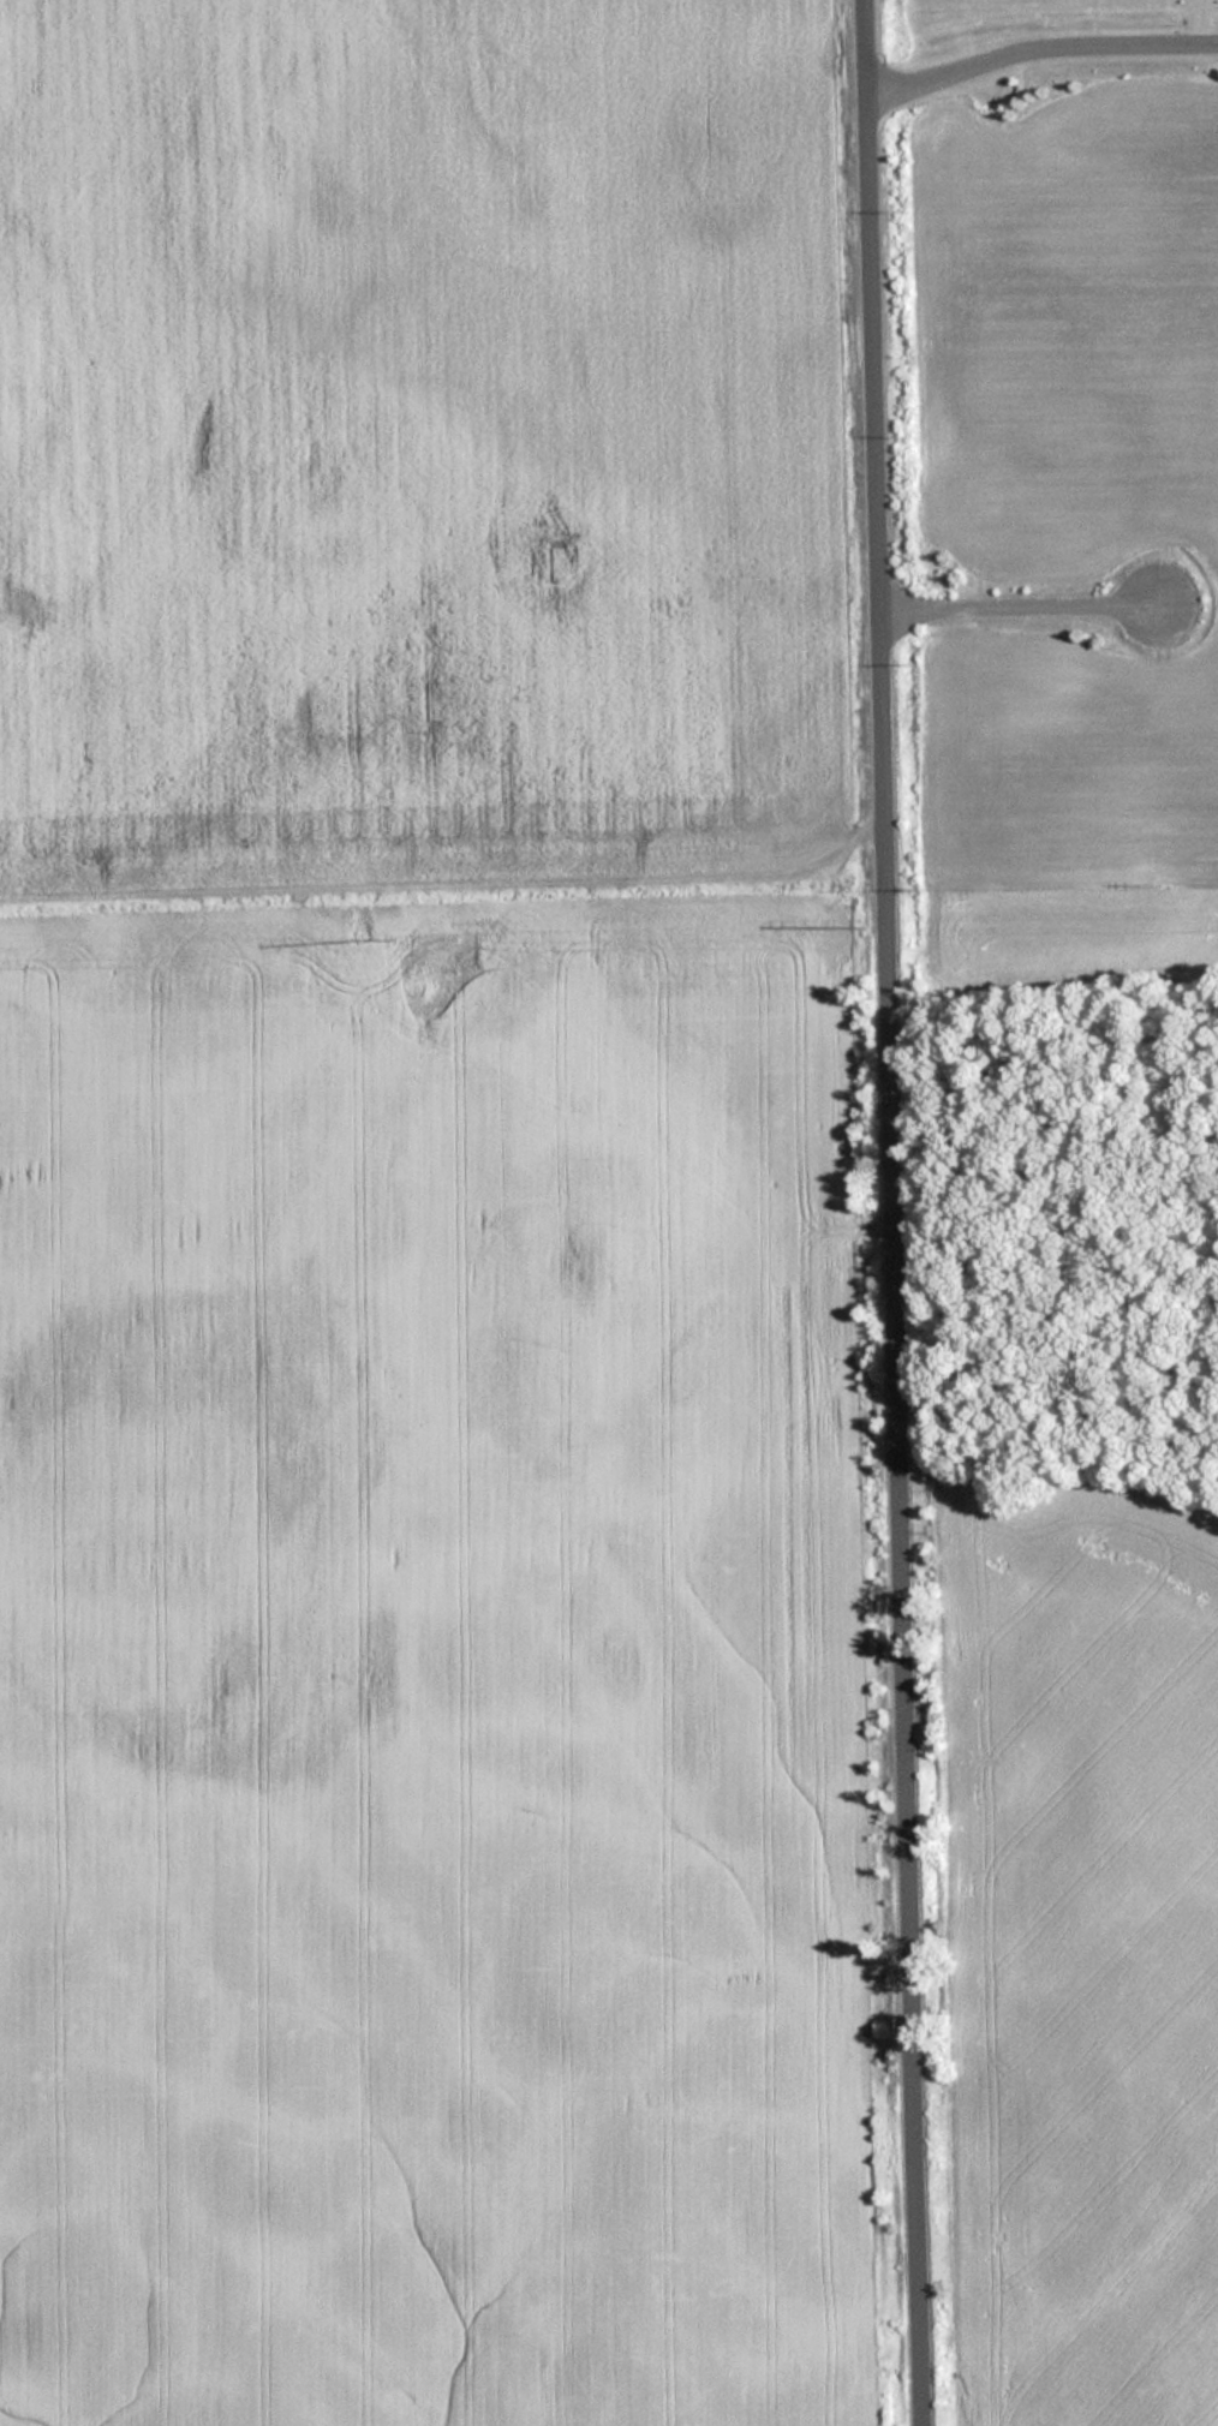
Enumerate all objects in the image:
road: (1188, 20)
road: (1039, 44)
power tower: (856, 928)
power tower: (356, 943)
road: (894, 1213)

